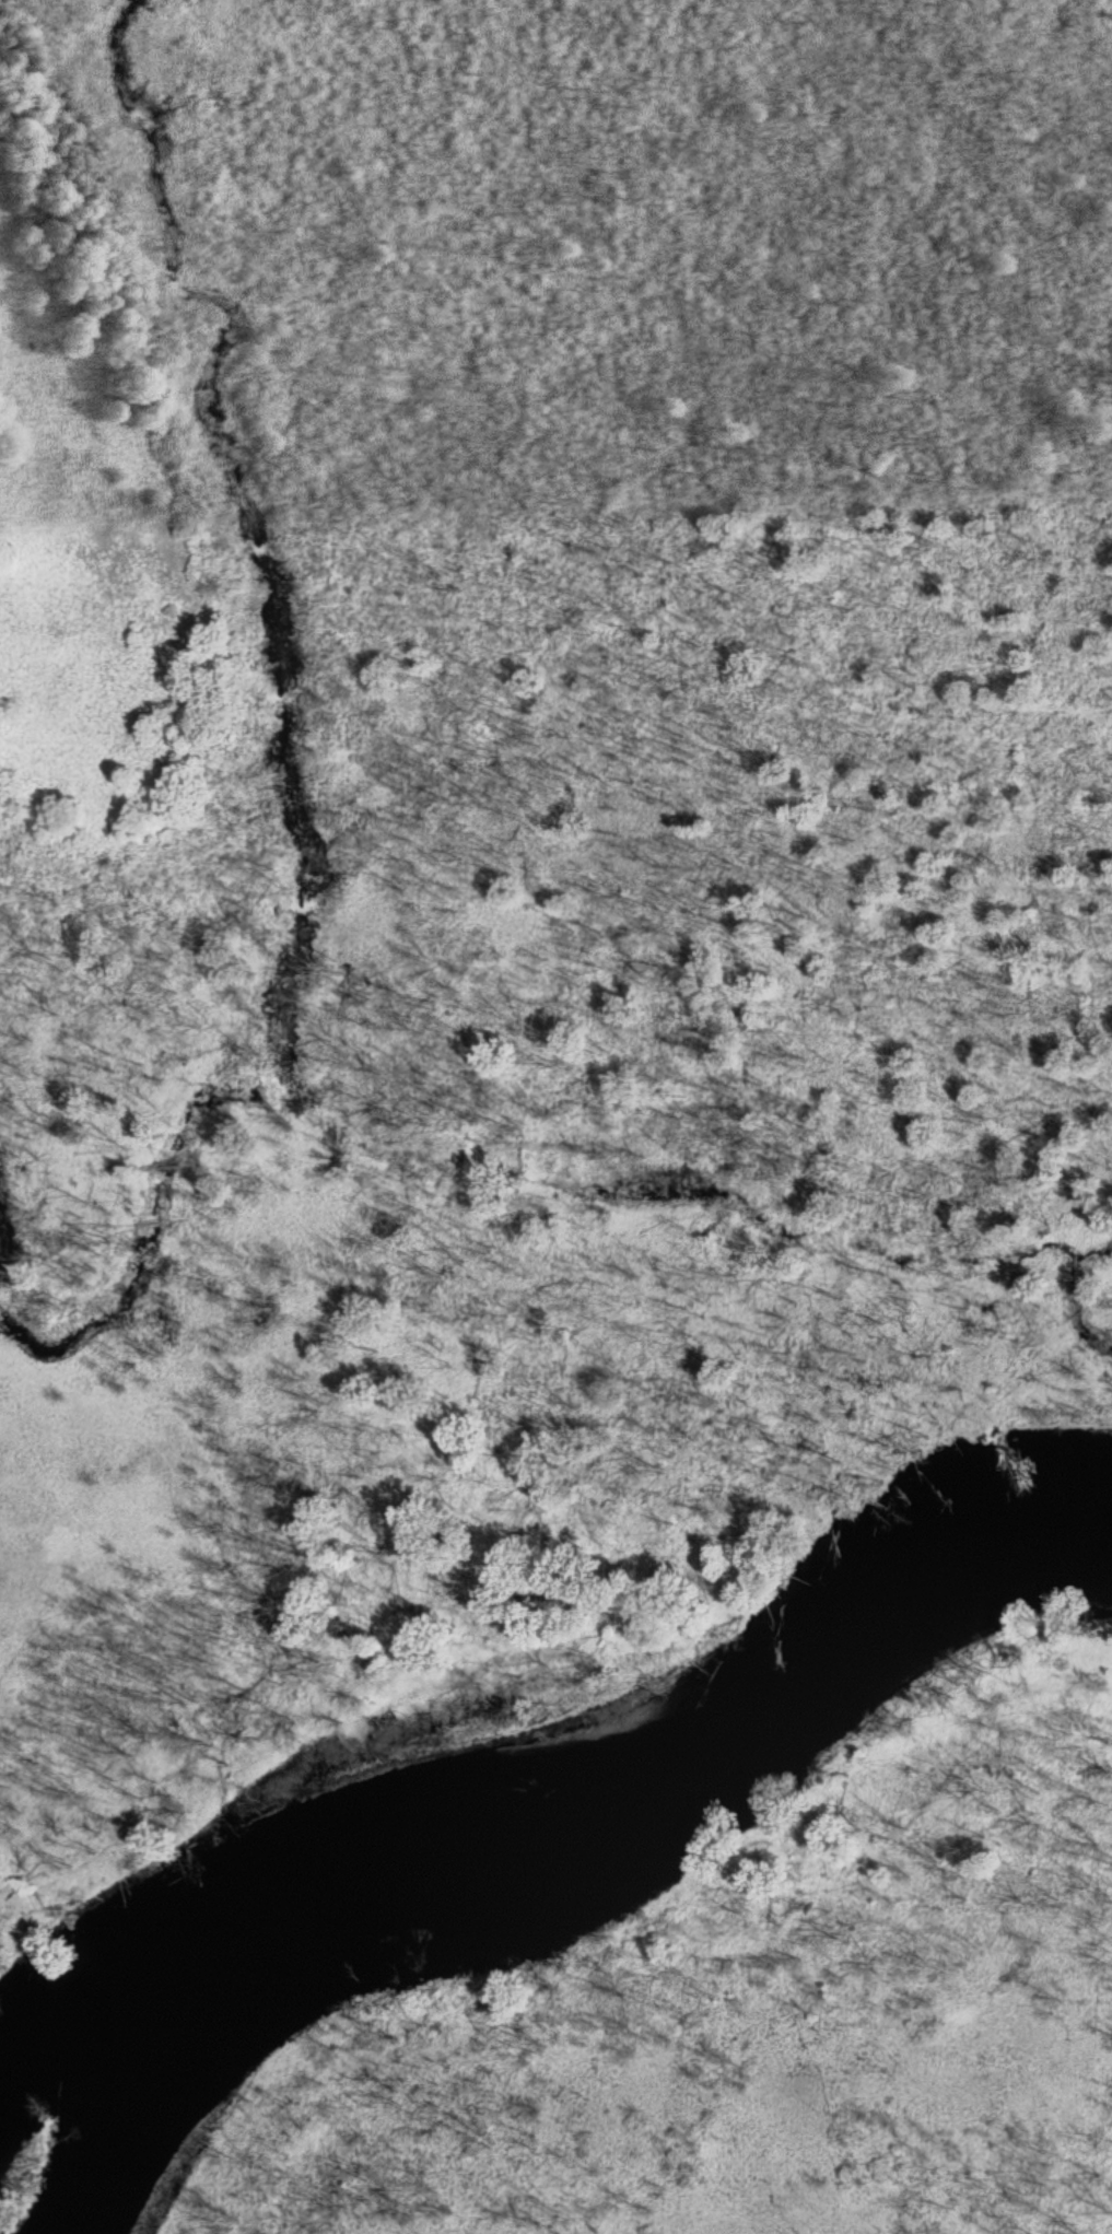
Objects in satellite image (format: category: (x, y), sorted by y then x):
river: (534, 1822)

